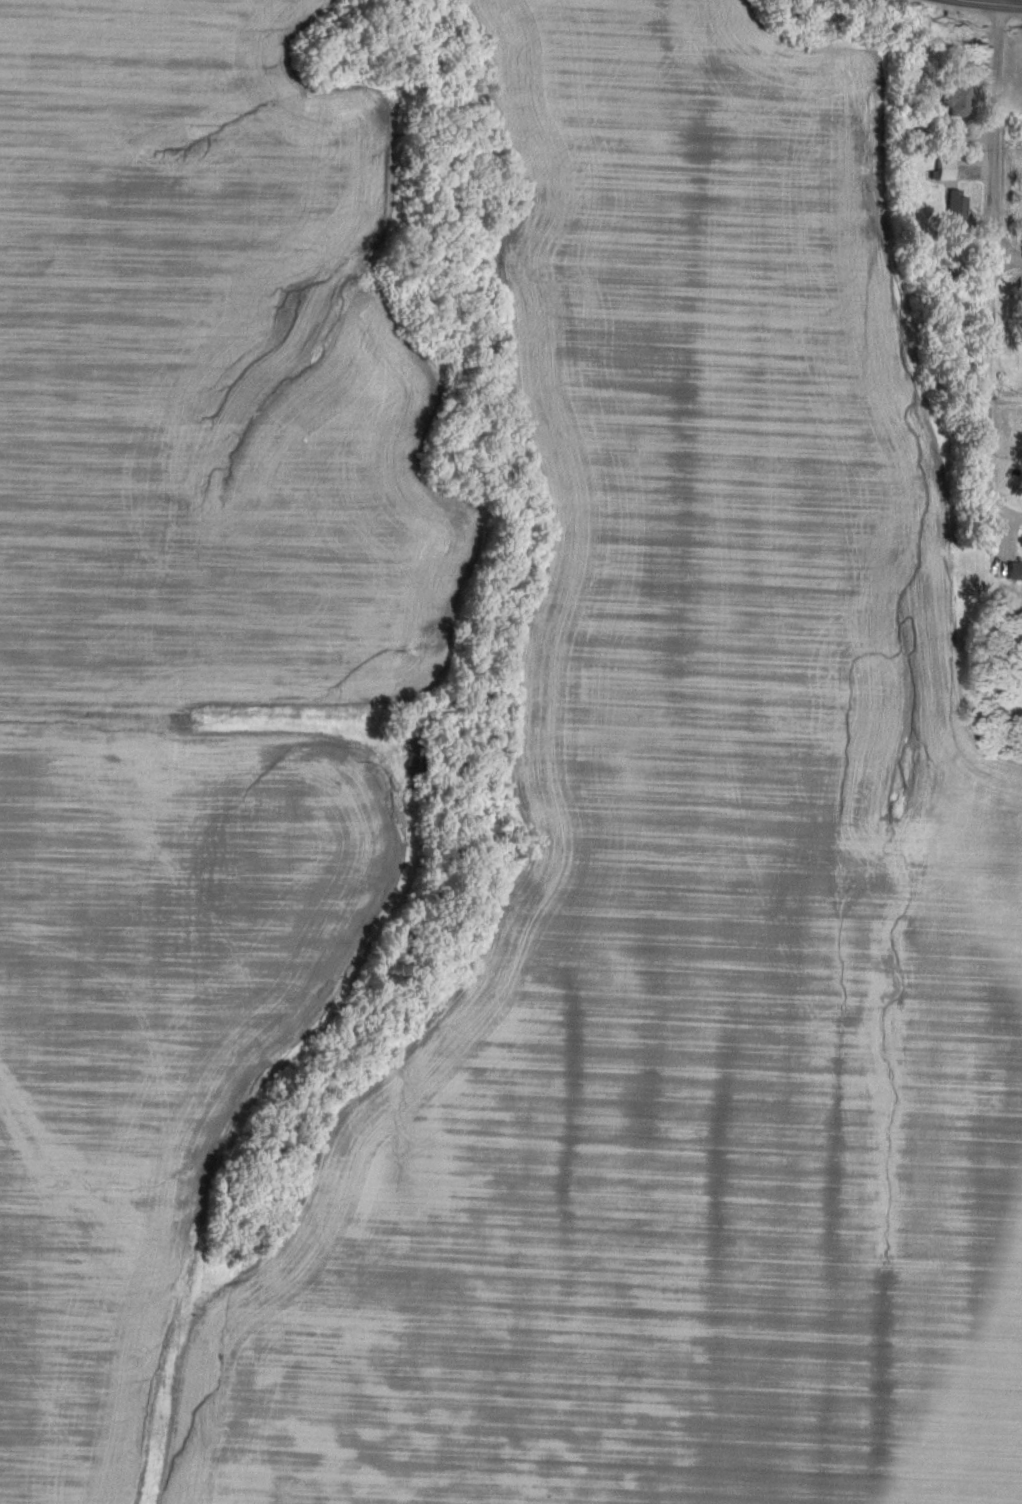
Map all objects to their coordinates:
road: (977, 3)
road: (997, 3)
road: (1009, 6)
building: (957, 101)
building: (945, 170)
building: (956, 210)
road: (1007, 268)
road: (992, 272)
building: (1015, 572)

